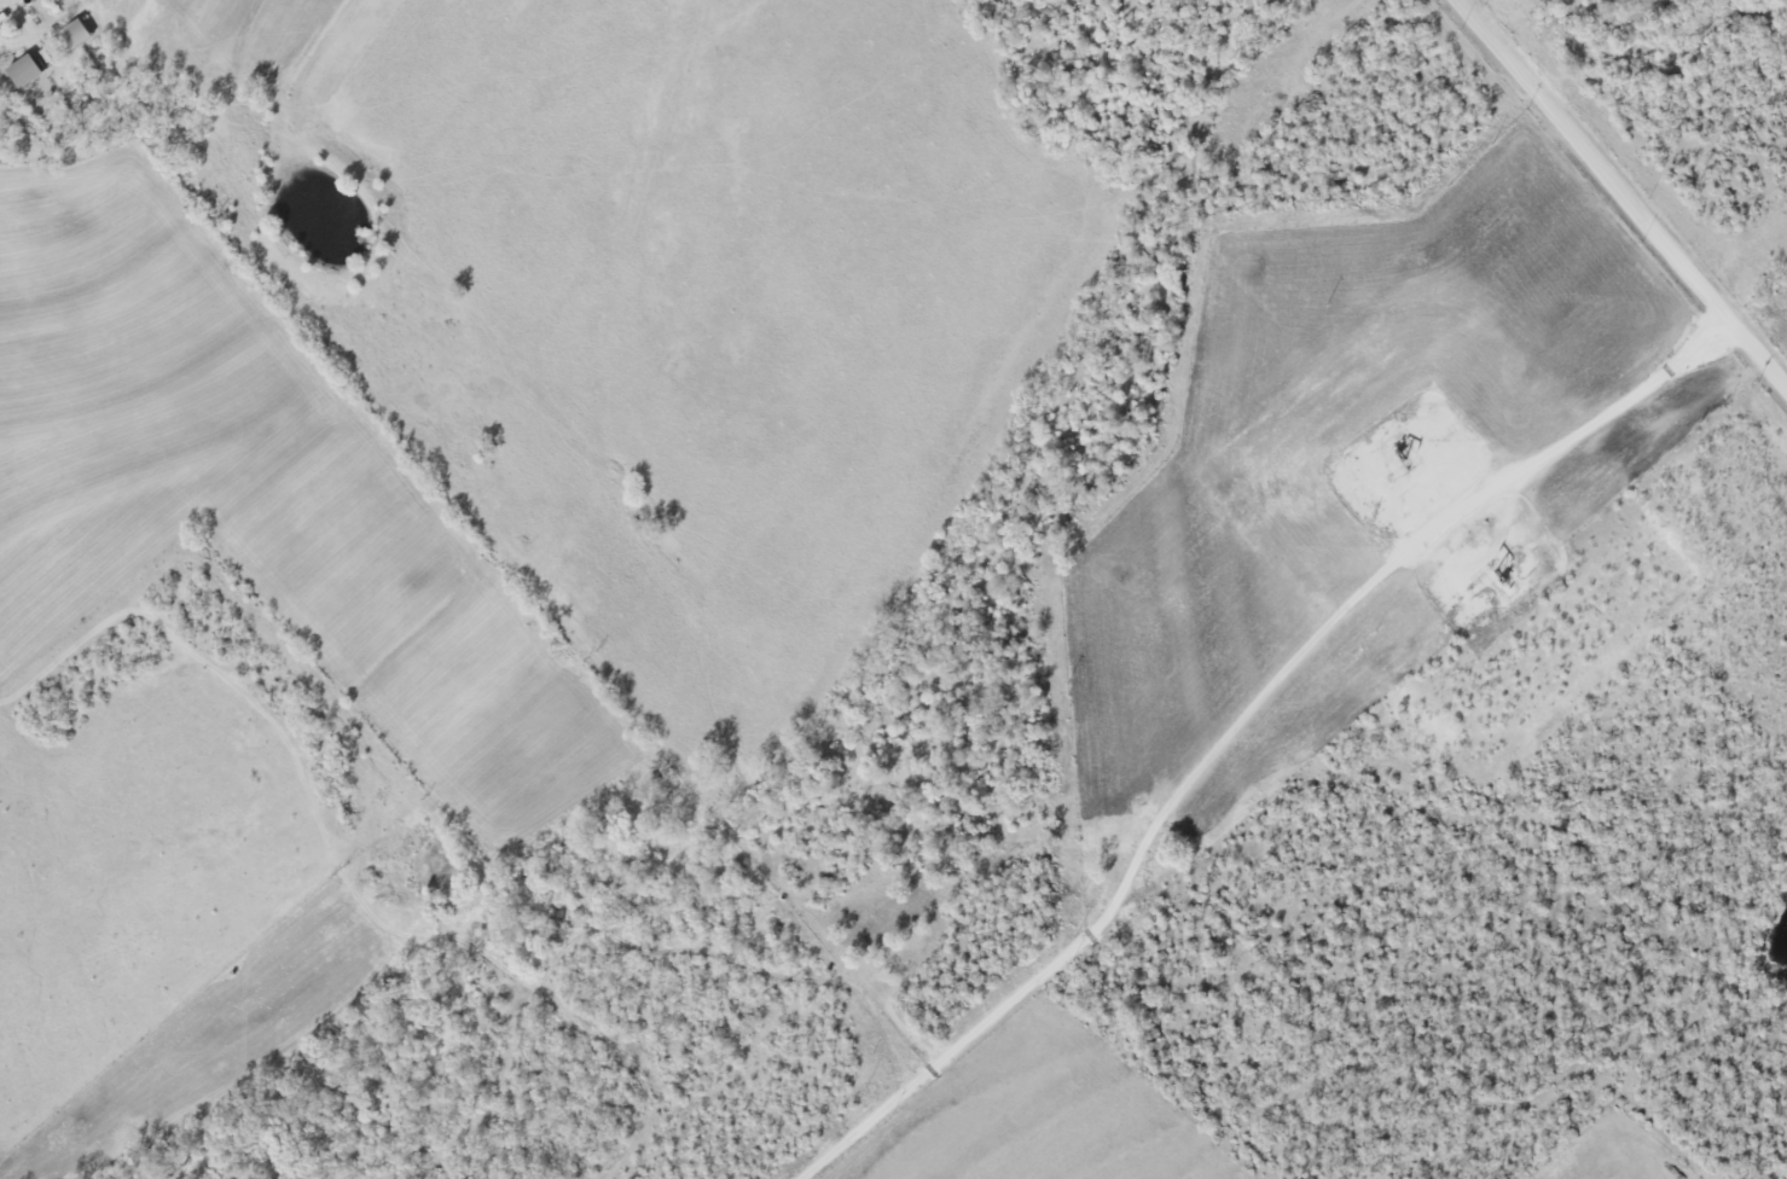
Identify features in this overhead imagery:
building: (72, 35)
building: (23, 71)
road: (1628, 194)
road: (1243, 725)

